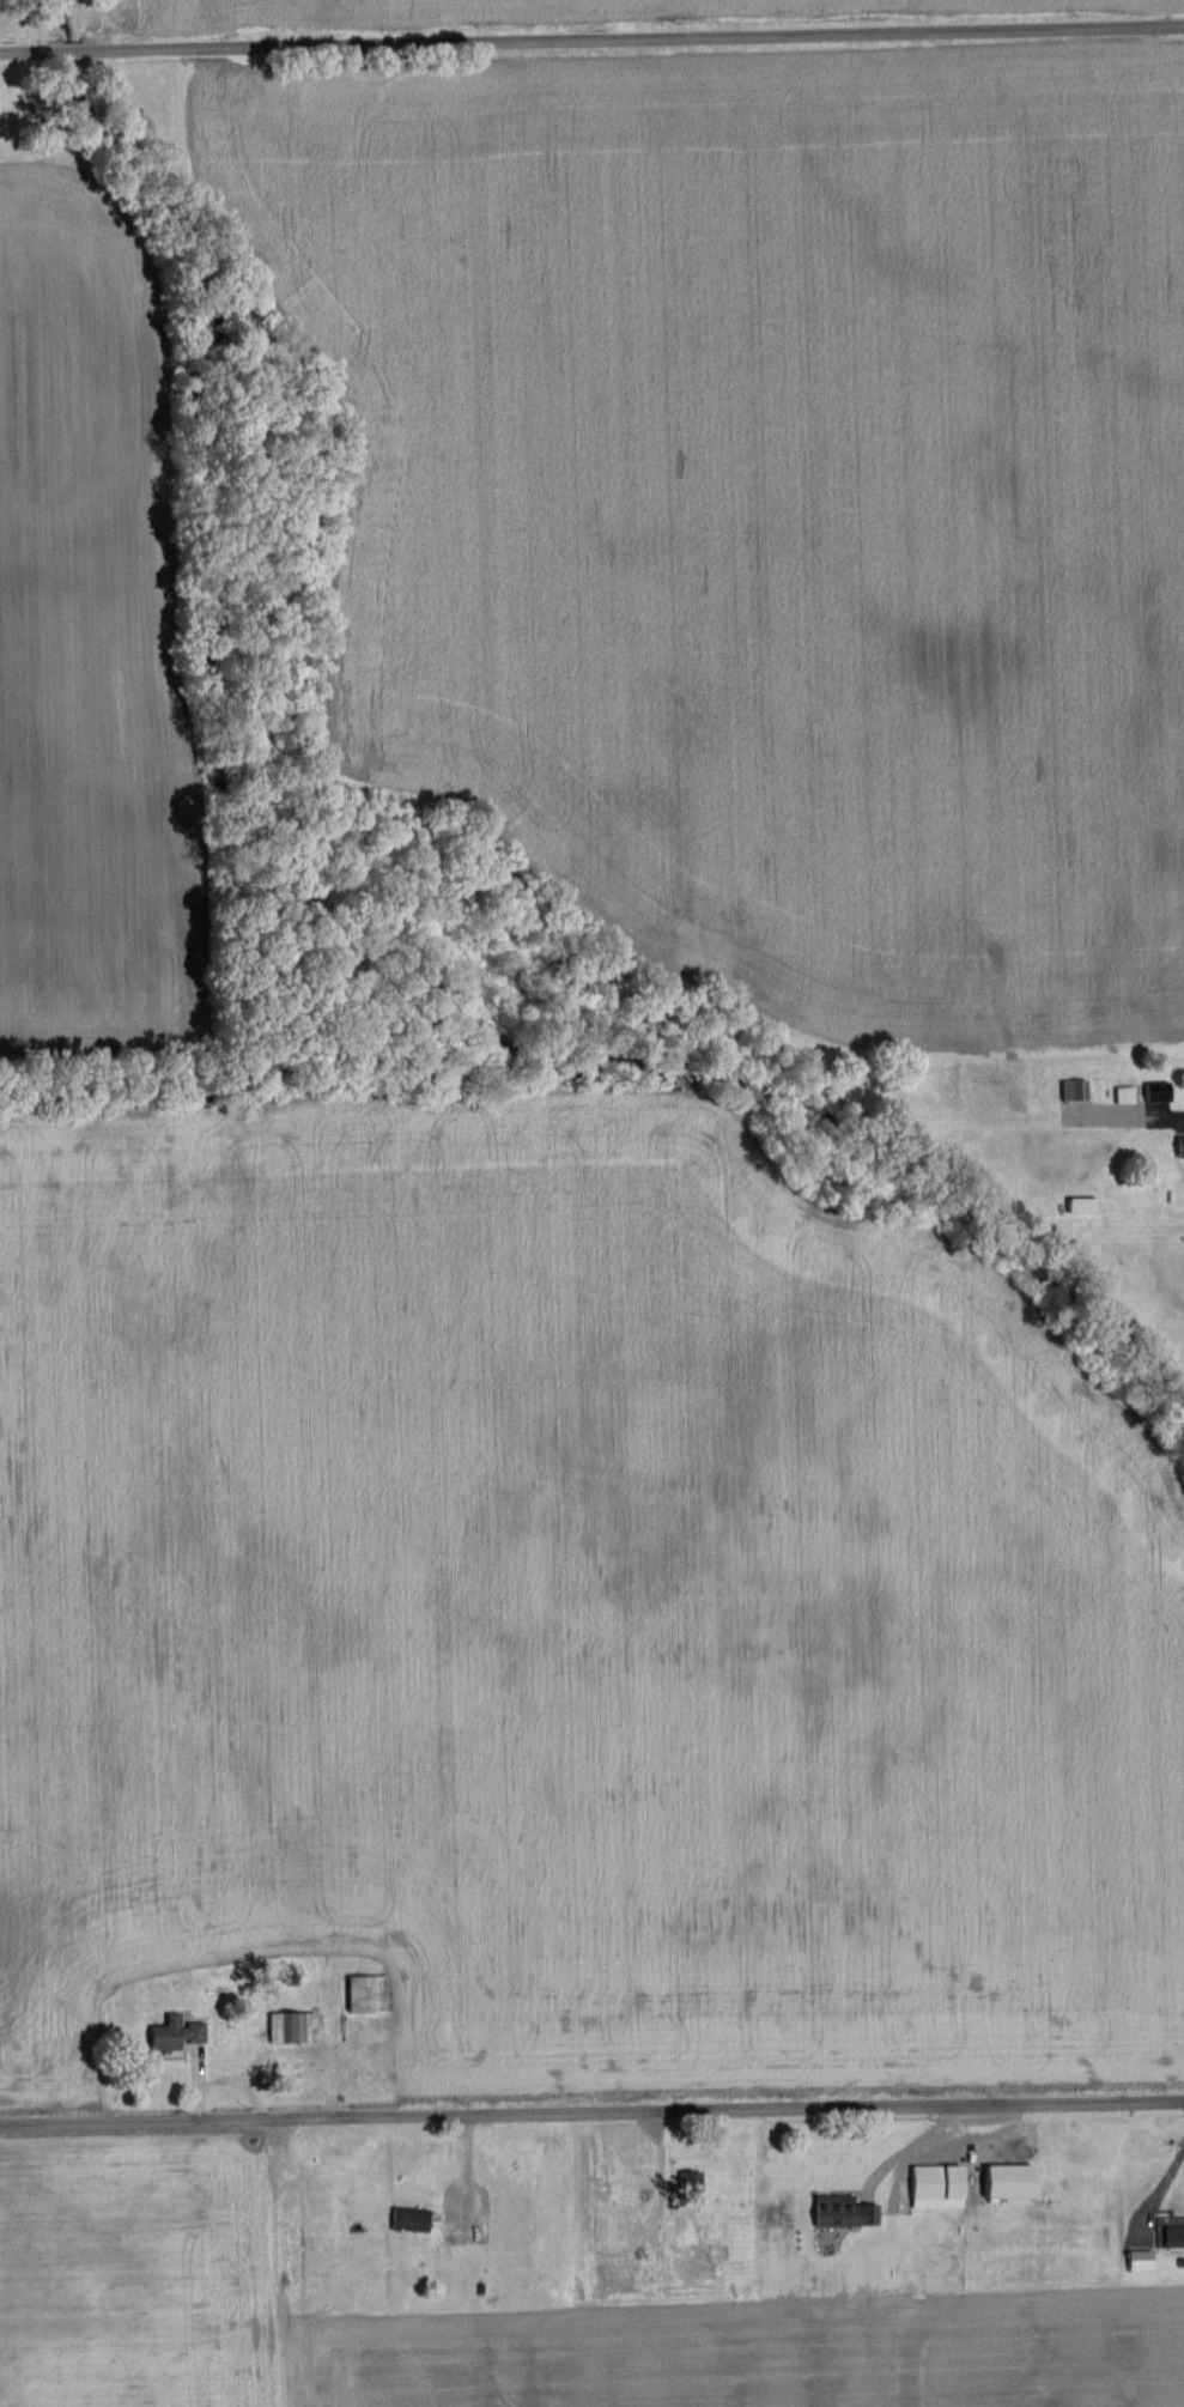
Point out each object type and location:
road: (591, 44)
building: (1071, 1090)
building: (1156, 1092)
building: (1124, 1095)
building: (1179, 1147)
building: (1133, 1205)
building: (1081, 1206)
building: (365, 1994)
building: (291, 2027)
building: (174, 2033)
road: (591, 2120)
building: (1008, 2181)
building: (690, 2185)
building: (936, 2185)
road: (1156, 2195)
building: (843, 2211)
building: (408, 2219)
building: (1173, 2235)
building: (1139, 2260)
building: (620, 2275)

